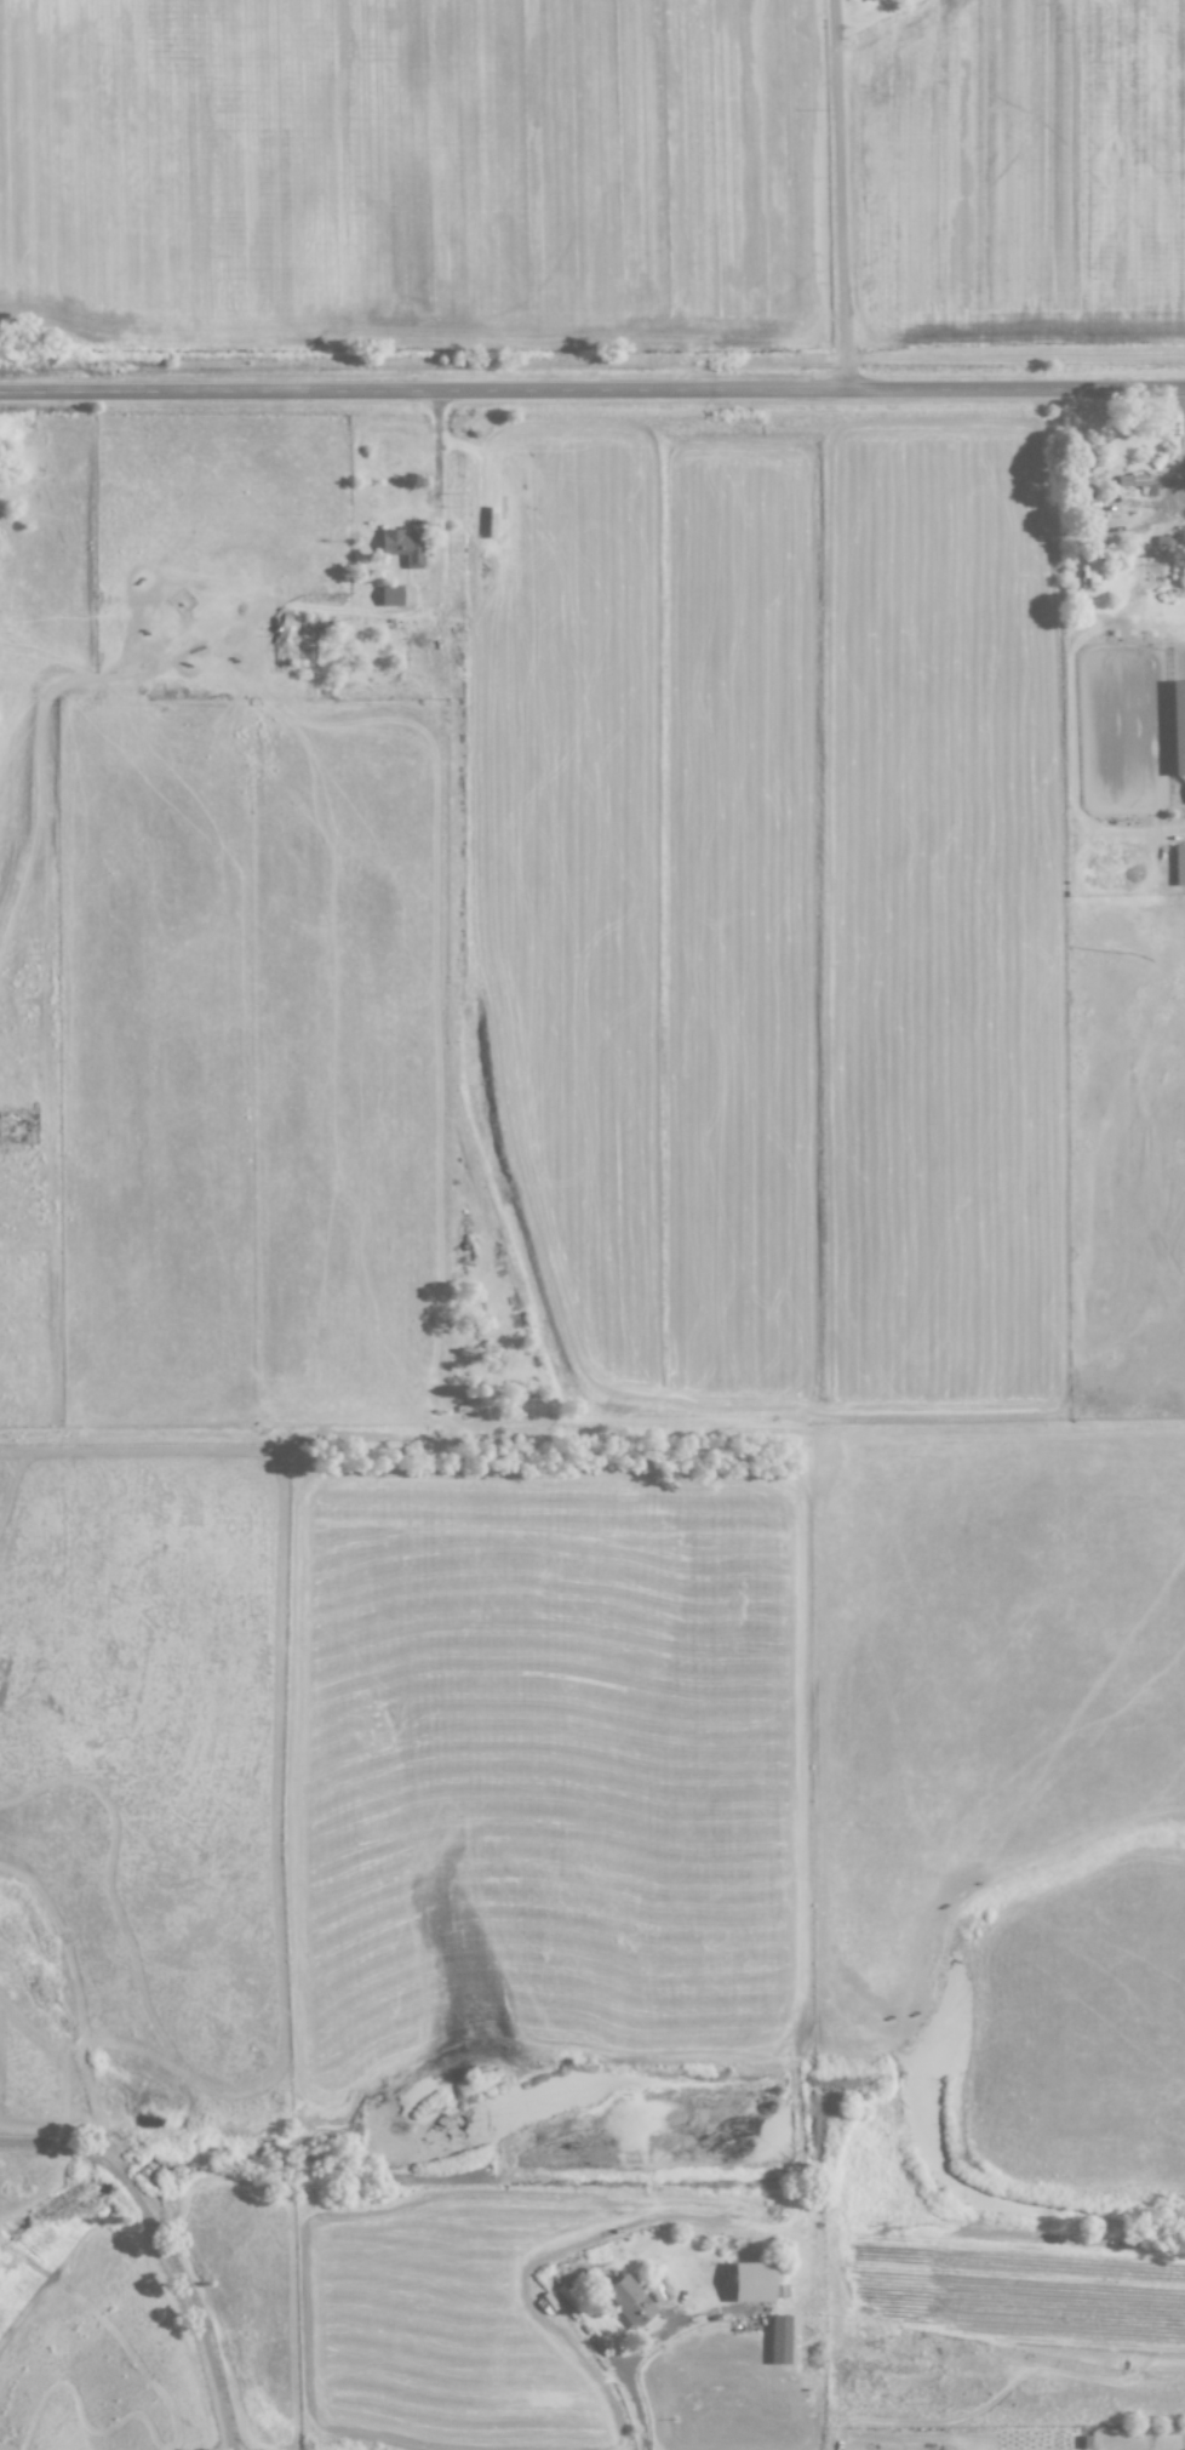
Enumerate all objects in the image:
building: (868, 0)
road: (843, 194)
road: (591, 388)
road: (435, 449)
building: (1137, 480)
building: (402, 544)
building: (1090, 570)
building: (390, 595)
building: (1178, 725)
building: (1179, 863)
road: (162, 2248)
building: (751, 2281)
building: (628, 2300)
building: (779, 2338)
road: (641, 2348)

